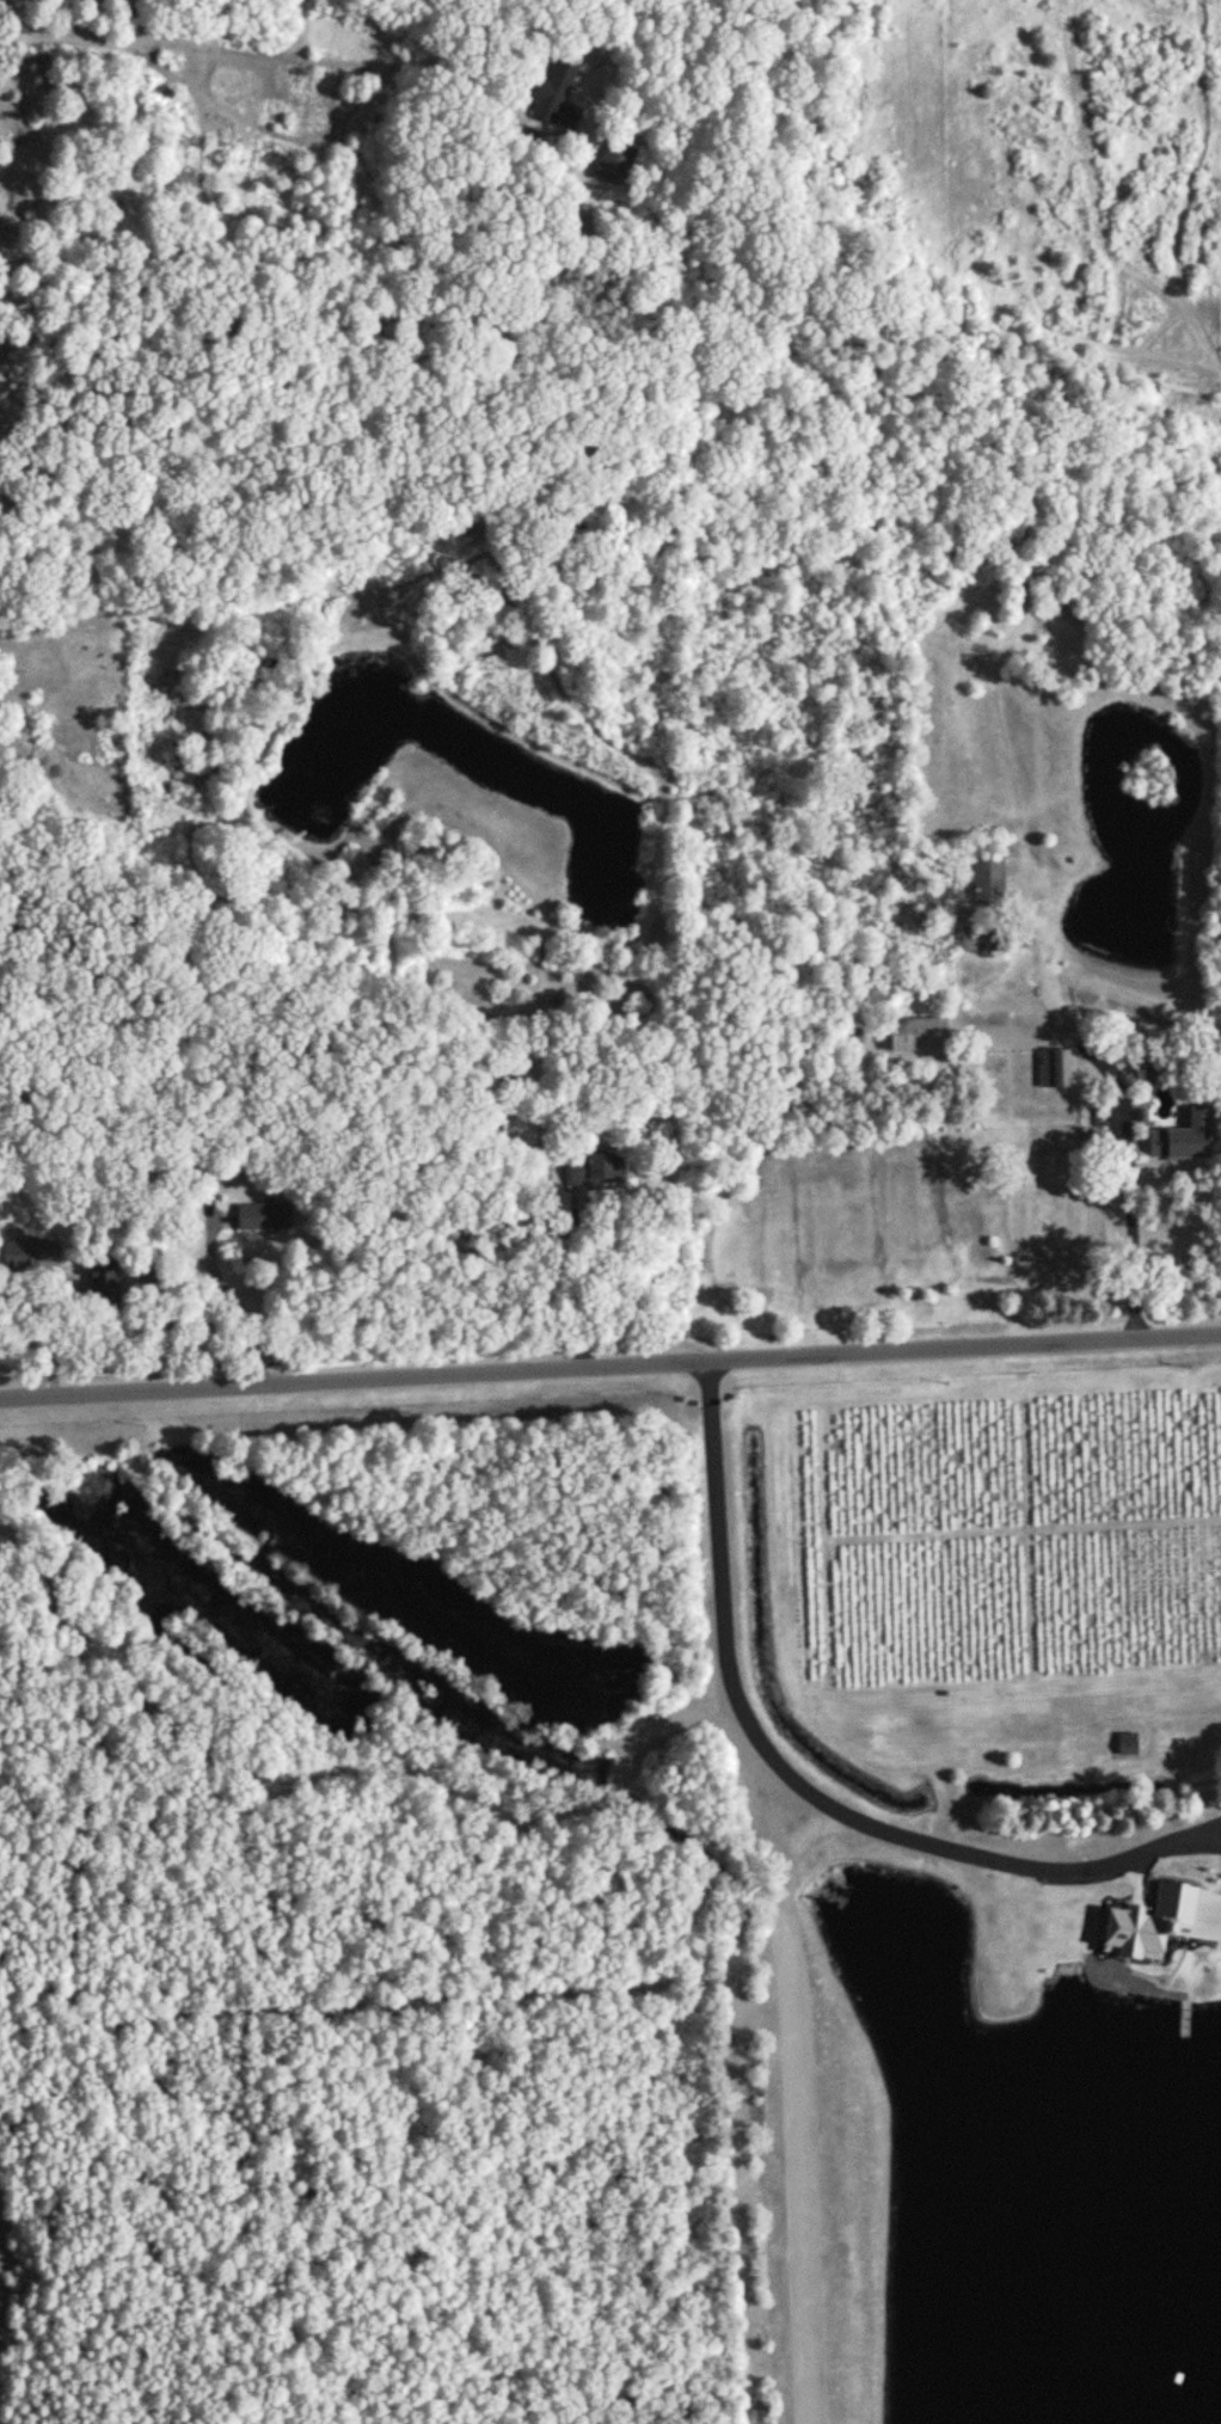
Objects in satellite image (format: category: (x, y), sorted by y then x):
building: (11, 0)
road: (300, 55)
building: (554, 91)
building: (614, 161)
building: (987, 880)
building: (914, 1035)
building: (1054, 1069)
building: (515, 1133)
building: (1180, 1140)
building: (591, 1170)
building: (254, 1217)
road: (1130, 1242)
building: (26, 1254)
road: (610, 1367)
building: (1125, 1744)
road: (799, 1780)

